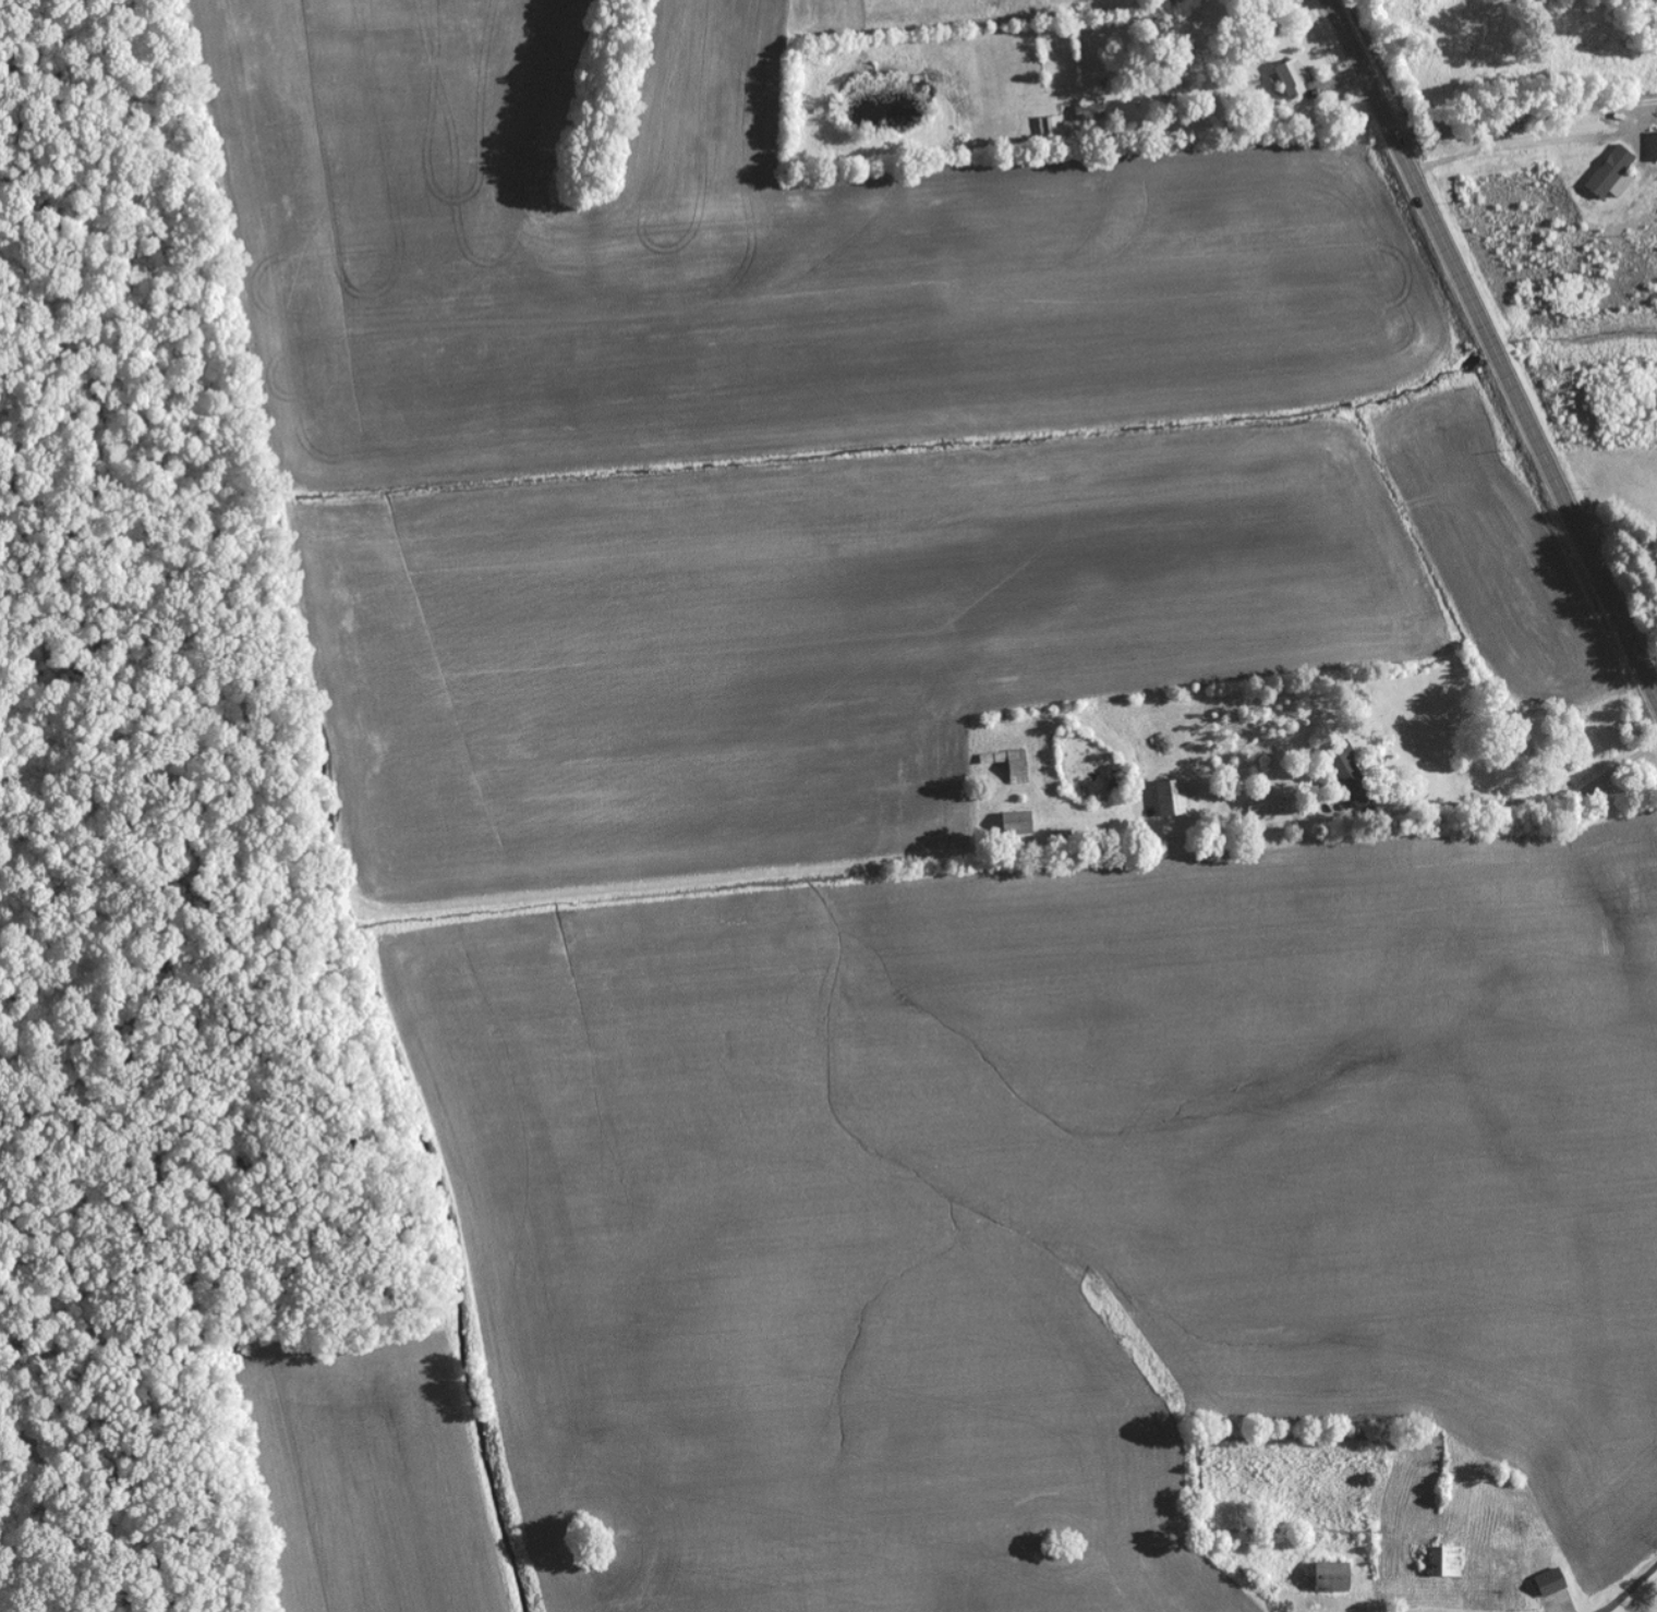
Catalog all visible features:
road: (1513, 68)
building: (1287, 77)
building: (1652, 147)
building: (1609, 174)
road: (1492, 349)
building: (1172, 800)
building: (1262, 805)
building: (1323, 1577)
building: (1546, 1583)

